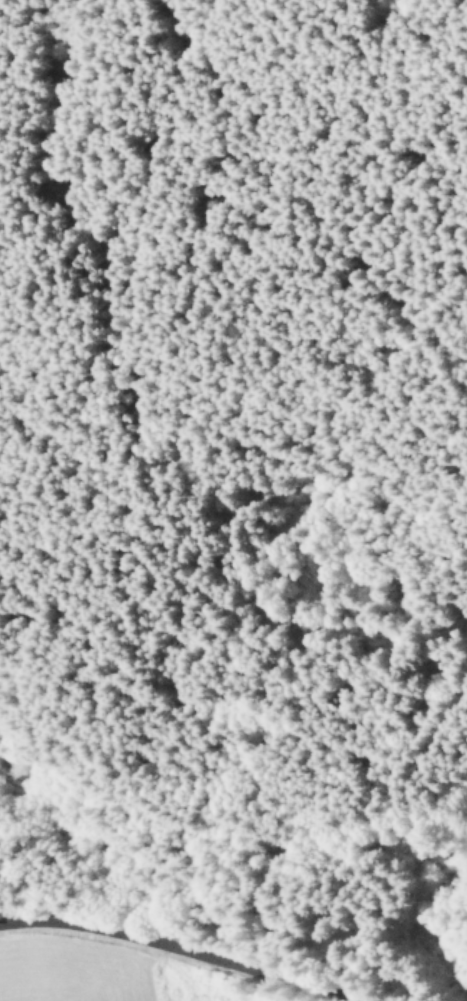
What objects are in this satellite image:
road: (182, 952)

